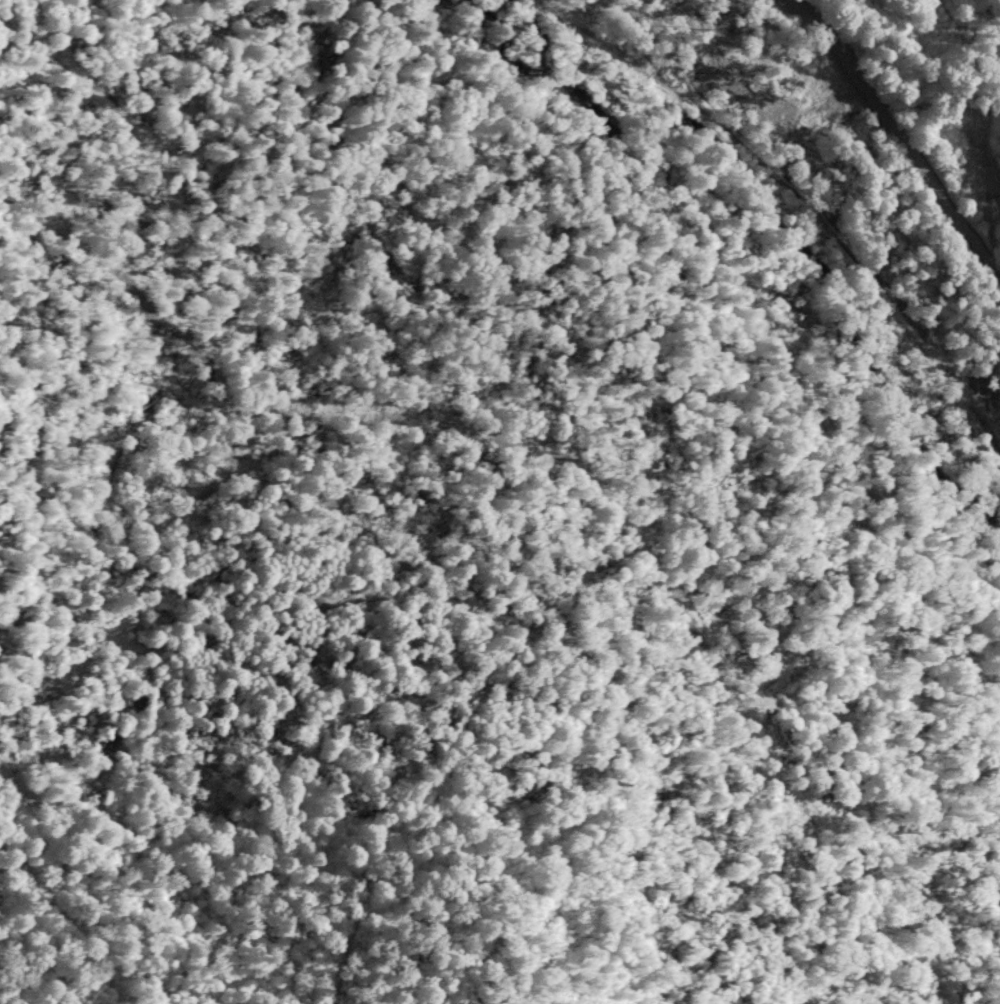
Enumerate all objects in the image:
road: (901, 136)
railway: (790, 207)

